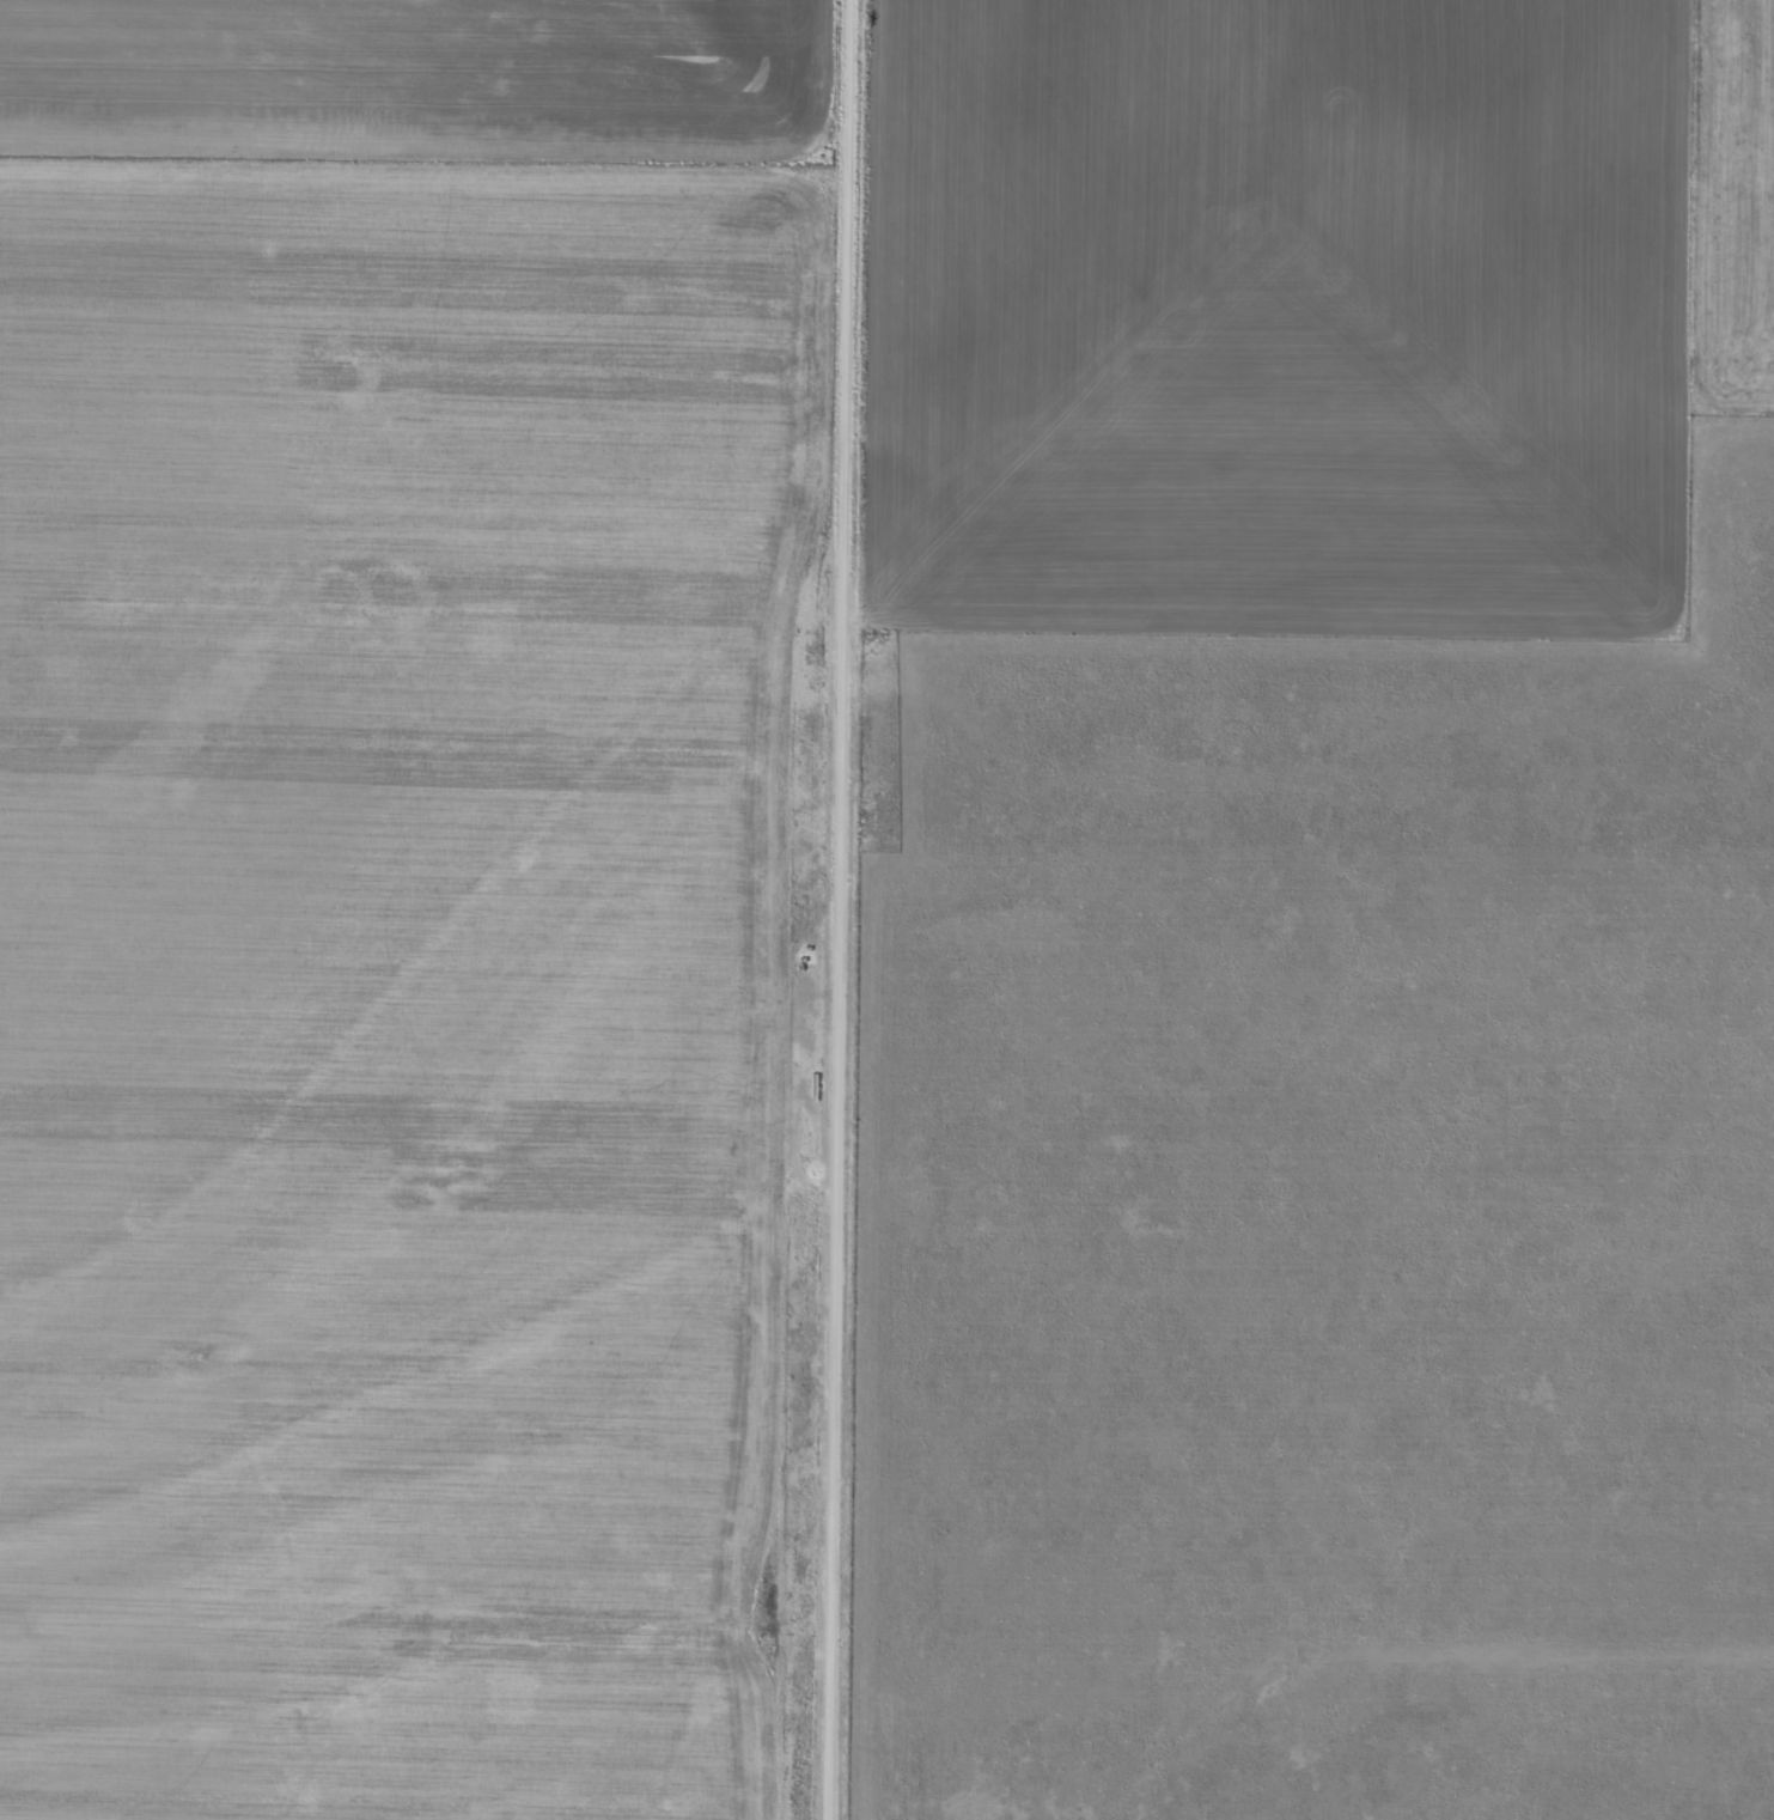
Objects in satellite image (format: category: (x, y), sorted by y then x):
road: (843, 909)

